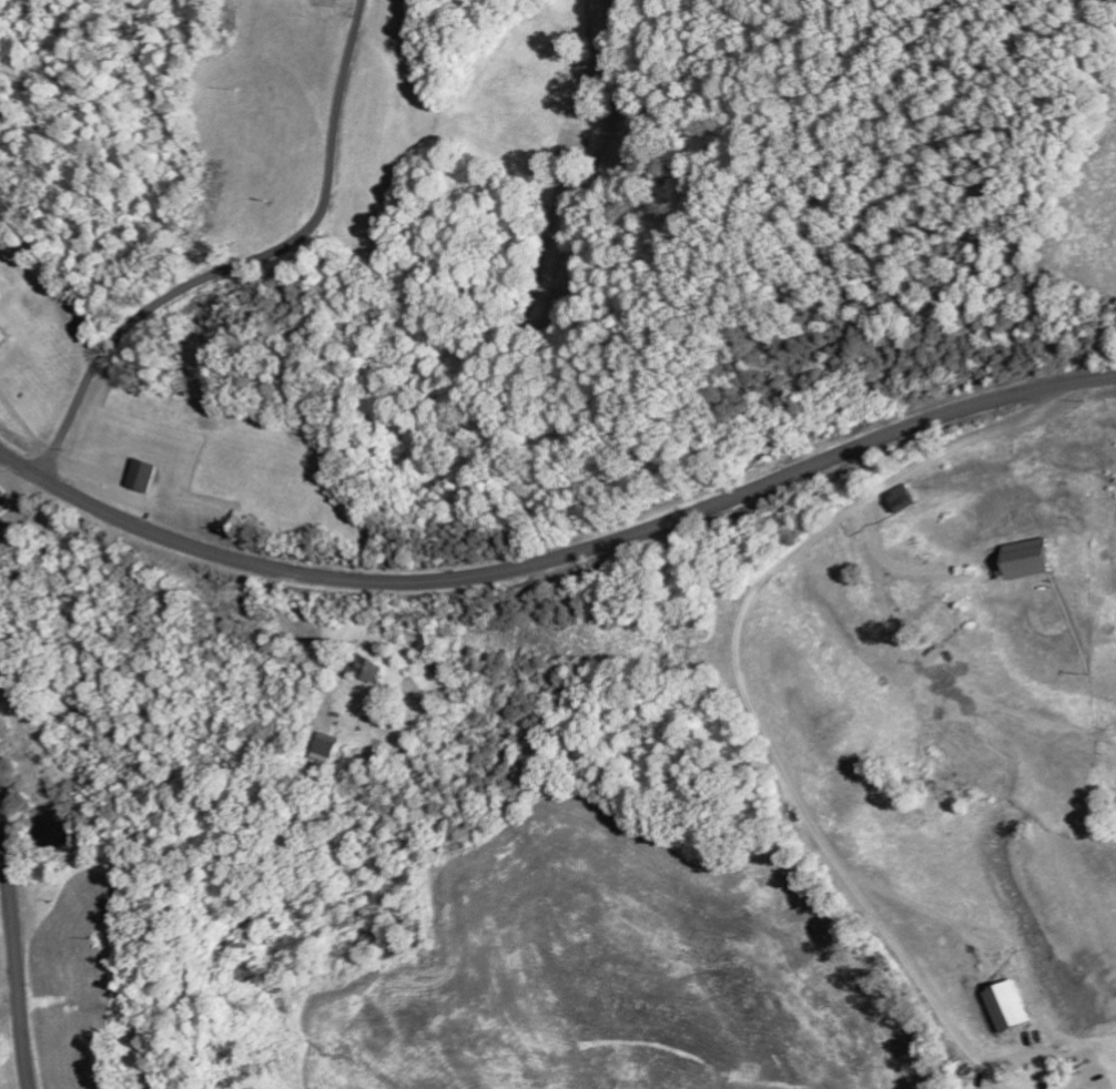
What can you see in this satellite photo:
road: (248, 266)
building: (146, 475)
building: (1032, 559)
road: (559, 562)
road: (763, 715)
building: (323, 747)
road: (17, 966)
building: (1014, 1005)

